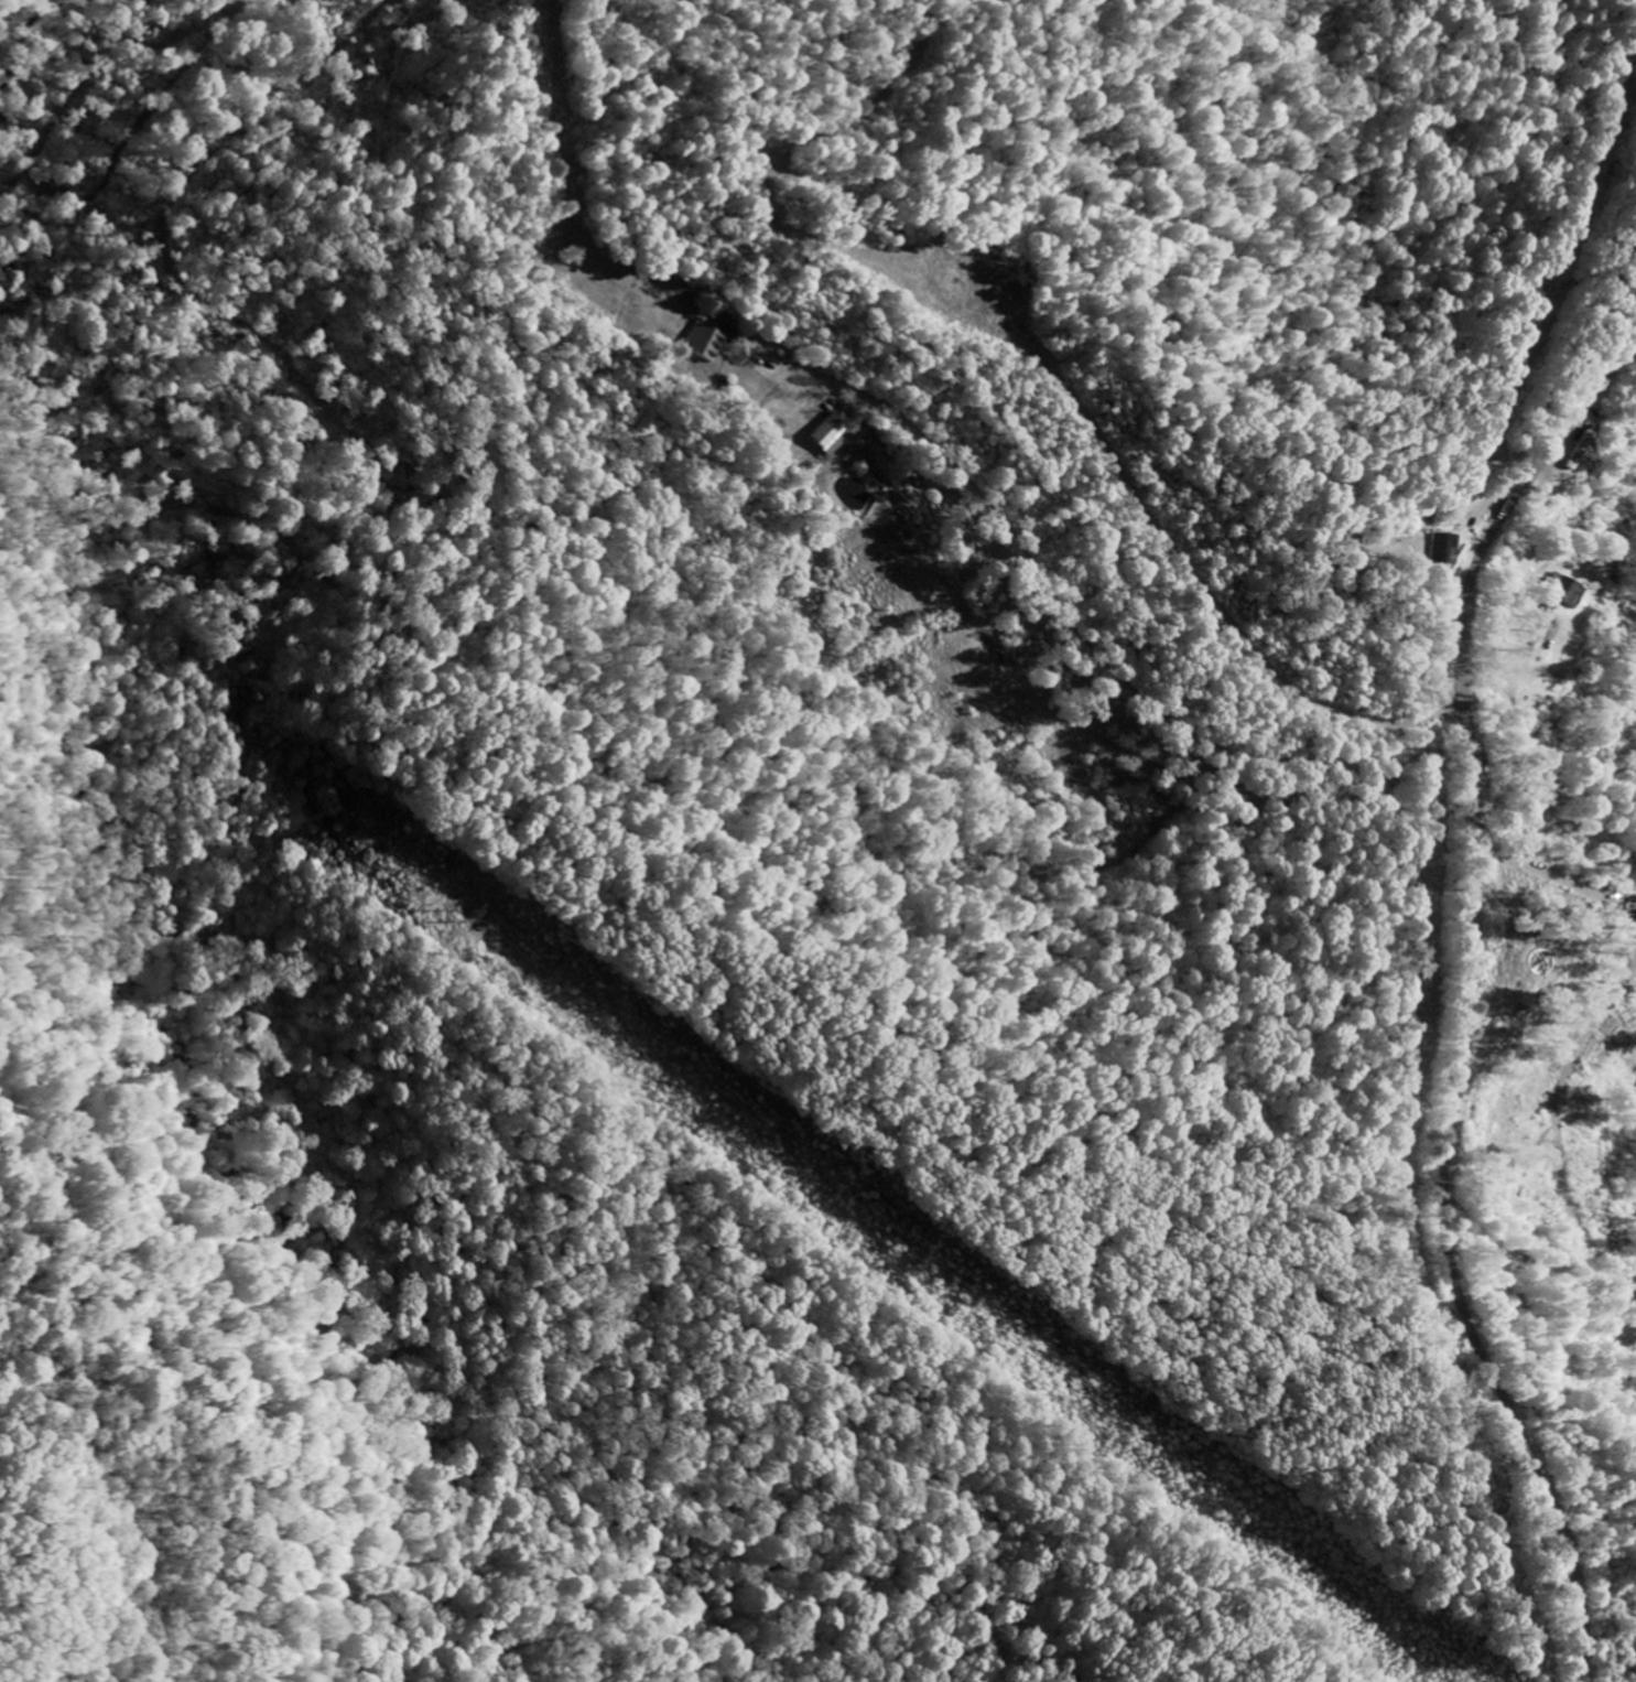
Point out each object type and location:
building: (703, 344)
building: (827, 436)
building: (1571, 595)
road: (1093, 650)
power tower: (465, 916)
road: (1471, 1000)
power tower: (921, 1268)

